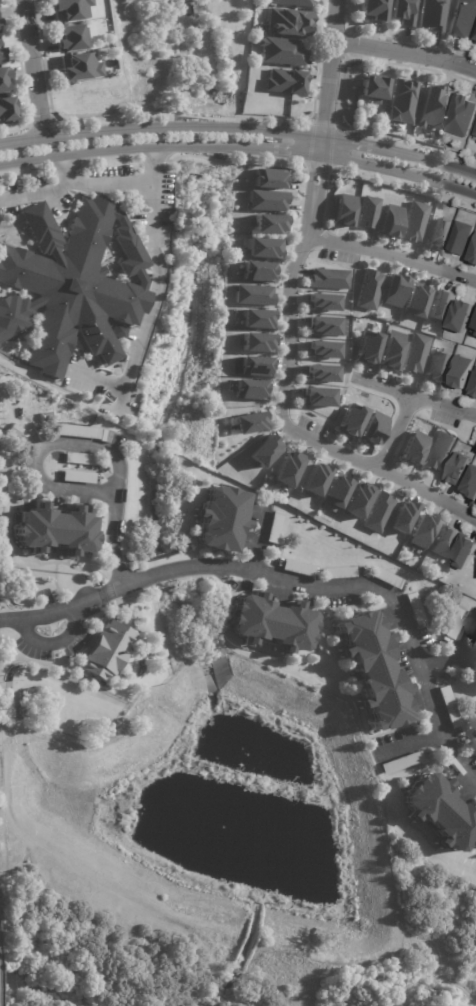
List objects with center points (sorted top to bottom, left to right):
building: (293, 2)
building: (70, 9)
building: (374, 10)
building: (404, 11)
building: (433, 14)
building: (464, 19)
building: (0, 21)
building: (286, 21)
building: (0, 32)
building: (71, 37)
building: (475, 40)
building: (282, 51)
road: (405, 53)
building: (2, 54)
building: (80, 67)
road: (33, 69)
road: (330, 78)
building: (4, 80)
building: (283, 81)
building: (372, 88)
building: (400, 101)
building: (6, 108)
building: (429, 108)
building: (370, 110)
building: (462, 117)
road: (240, 129)
building: (475, 135)
road: (240, 149)
road: (151, 165)
building: (268, 178)
road: (33, 193)
road: (314, 196)
building: (266, 200)
building: (342, 210)
building: (367, 212)
building: (390, 220)
building: (414, 222)
building: (267, 223)
building: (437, 234)
building: (459, 238)
building: (262, 248)
building: (472, 251)
road: (393, 255)
road: (154, 256)
parking lot: (339, 256)
building: (256, 271)
building: (328, 278)
building: (71, 285)
building: (368, 290)
building: (393, 290)
building: (252, 294)
building: (414, 300)
building: (322, 302)
building: (439, 305)
building: (459, 316)
building: (255, 318)
building: (474, 325)
building: (326, 326)
building: (120, 332)
building: (256, 342)
building: (368, 347)
building: (322, 349)
building: (391, 350)
building: (415, 353)
building: (254, 365)
building: (435, 366)
building: (459, 372)
building: (320, 373)
building: (472, 386)
building: (248, 389)
road: (415, 396)
building: (317, 397)
parking lot: (444, 419)
building: (351, 420)
building: (248, 422)
parking lot: (312, 426)
building: (373, 428)
road: (293, 430)
building: (78, 432)
road: (395, 433)
road: (90, 445)
building: (413, 447)
building: (437, 450)
building: (264, 451)
building: (79, 459)
building: (286, 468)
building: (456, 469)
building: (78, 478)
building: (314, 479)
building: (470, 484)
building: (335, 490)
building: (357, 499)
building: (377, 512)
building: (401, 517)
building: (221, 520)
building: (276, 527)
road: (259, 528)
building: (54, 531)
building: (420, 531)
building: (442, 541)
building: (462, 551)
road: (254, 552)
building: (299, 569)
building: (340, 573)
building: (387, 578)
road: (350, 587)
building: (416, 610)
road: (54, 614)
building: (271, 622)
building: (456, 624)
road: (54, 642)
building: (474, 647)
building: (107, 650)
building: (475, 652)
road: (456, 653)
building: (374, 668)
building: (474, 677)
building: (450, 708)
building: (475, 736)
road: (406, 742)
building: (402, 762)
building: (441, 811)
park: (107, 947)

